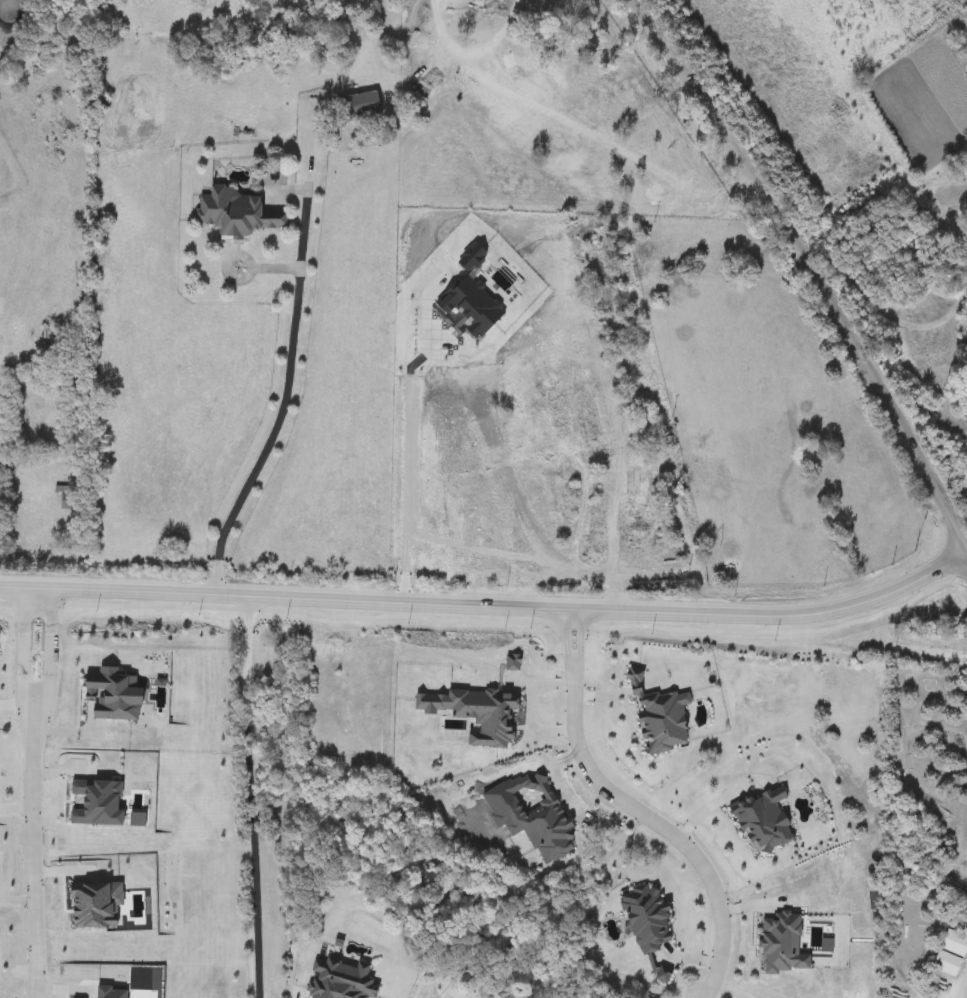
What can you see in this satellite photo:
building: (359, 106)
building: (234, 213)
road: (811, 269)
road: (886, 316)
road: (286, 368)
building: (586, 409)
building: (556, 417)
building: (610, 420)
road: (406, 461)
building: (666, 466)
building: (608, 513)
building: (635, 517)
building: (545, 555)
road: (544, 576)
road: (613, 577)
road: (487, 597)
road: (578, 627)
road: (563, 628)
road: (19, 642)
road: (50, 643)
road: (251, 791)
road: (579, 807)
road: (653, 823)
building: (719, 832)
road: (32, 851)
building: (633, 882)
building: (949, 952)
road: (964, 986)
road: (49, 990)

